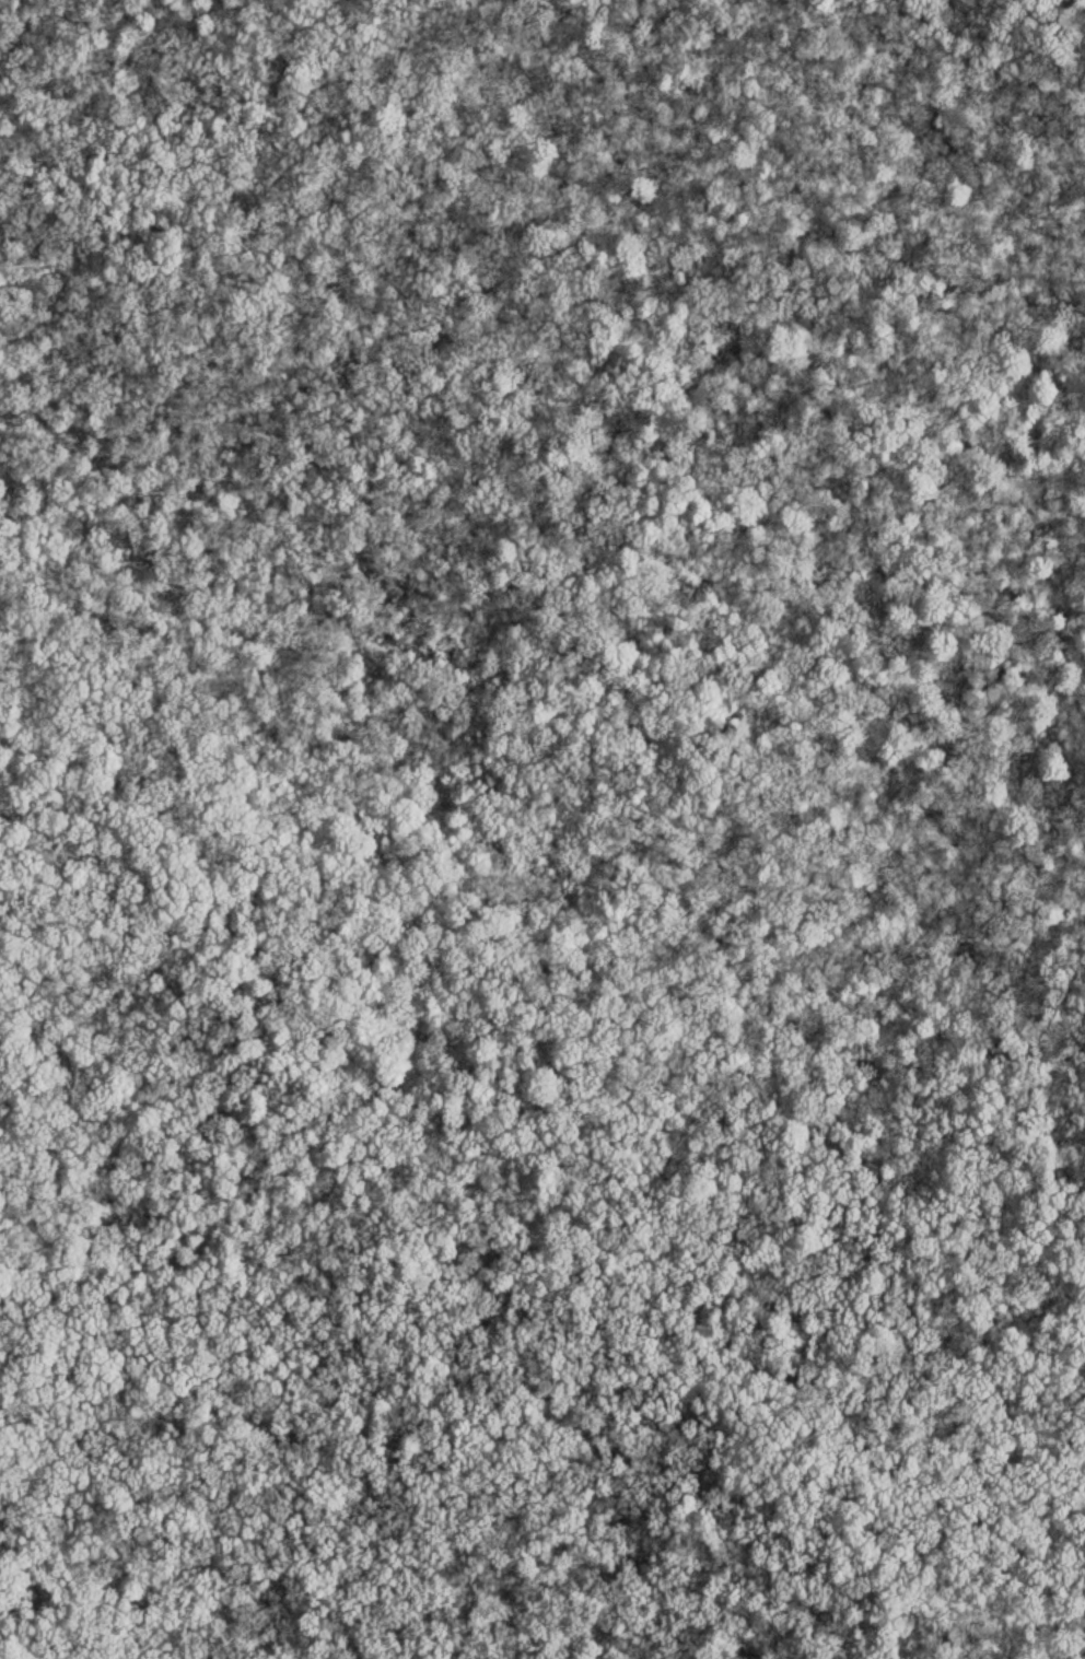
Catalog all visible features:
road: (932, 523)

